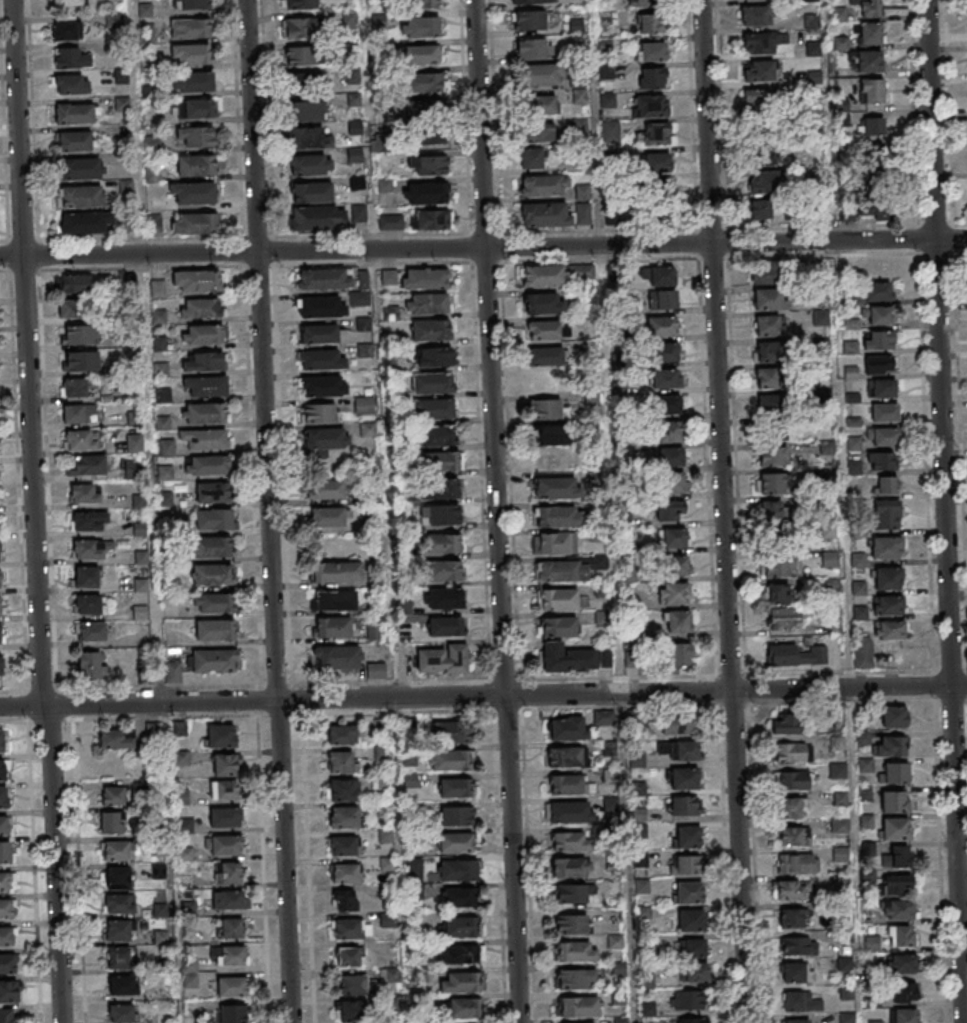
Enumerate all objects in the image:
building: (537, 1)
building: (67, 2)
building: (425, 3)
building: (640, 3)
building: (190, 4)
building: (299, 4)
building: (870, 8)
building: (756, 16)
building: (530, 20)
building: (115, 21)
building: (650, 25)
building: (298, 27)
building: (190, 28)
building: (421, 28)
building: (67, 30)
building: (870, 33)
building: (762, 44)
building: (533, 49)
building: (651, 52)
building: (192, 54)
building: (418, 55)
building: (302, 56)
building: (70, 57)
road: (365, 59)
building: (868, 60)
building: (542, 75)
building: (652, 78)
building: (193, 82)
building: (305, 82)
building: (70, 83)
building: (425, 83)
building: (872, 90)
building: (579, 97)
building: (353, 99)
building: (765, 101)
building: (122, 104)
building: (539, 105)
building: (651, 105)
building: (196, 108)
building: (309, 110)
building: (75, 113)
building: (870, 126)
building: (537, 132)
building: (656, 132)
building: (431, 134)
building: (197, 136)
building: (310, 137)
building: (75, 140)
building: (378, 143)
building: (355, 155)
building: (872, 155)
building: (531, 158)
building: (657, 162)
building: (311, 164)
building: (196, 165)
building: (428, 165)
building: (82, 168)
building: (763, 184)
building: (544, 185)
building: (126, 187)
building: (311, 192)
building: (426, 192)
building: (582, 192)
building: (195, 193)
building: (81, 197)
building: (872, 206)
building: (760, 211)
building: (359, 213)
building: (555, 214)
building: (319, 217)
building: (431, 219)
building: (390, 221)
building: (155, 223)
building: (195, 223)
building: (84, 224)
building: (127, 229)
road: (601, 233)
road: (483, 248)
building: (581, 272)
building: (767, 274)
building: (389, 276)
building: (542, 276)
building: (660, 277)
building: (324, 278)
building: (364, 278)
building: (425, 278)
building: (876, 279)
building: (199, 280)
building: (75, 284)
building: (818, 292)
building: (362, 298)
building: (847, 298)
building: (662, 300)
building: (769, 300)
building: (427, 303)
building: (543, 303)
building: (321, 306)
building: (71, 308)
building: (200, 308)
building: (391, 312)
building: (878, 315)
building: (817, 317)
building: (363, 323)
building: (770, 325)
building: (659, 327)
building: (431, 330)
building: (547, 330)
building: (202, 333)
building: (318, 333)
building: (80, 334)
building: (878, 340)
building: (159, 343)
building: (820, 346)
building: (364, 349)
building: (848, 349)
road: (143, 352)
building: (767, 352)
building: (663, 353)
building: (545, 356)
building: (432, 357)
building: (322, 359)
building: (81, 360)
building: (203, 361)
building: (878, 364)
building: (161, 370)
building: (821, 371)
building: (848, 373)
building: (767, 378)
building: (662, 379)
building: (433, 383)
building: (206, 385)
building: (323, 385)
building: (76, 387)
building: (879, 388)
building: (133, 392)
building: (163, 394)
building: (821, 396)
building: (364, 405)
building: (666, 405)
building: (434, 408)
building: (544, 409)
building: (206, 412)
building: (76, 413)
building: (319, 413)
building: (882, 414)
building: (772, 416)
building: (134, 418)
building: (162, 422)
building: (367, 429)
building: (669, 433)
building: (438, 435)
building: (548, 435)
building: (881, 437)
building: (326, 438)
building: (206, 439)
building: (80, 440)
building: (134, 442)
building: (852, 444)
building: (166, 445)
building: (825, 448)
building: (773, 456)
building: (668, 457)
building: (441, 460)
building: (881, 462)
building: (88, 464)
building: (210, 464)
building: (852, 468)
building: (134, 469)
building: (826, 474)
building: (672, 483)
building: (773, 483)
building: (887, 486)
building: (439, 488)
building: (555, 489)
building: (325, 490)
building: (213, 492)
building: (85, 493)
building: (165, 498)
building: (139, 501)
building: (671, 510)
building: (772, 510)
road: (267, 511)
road: (495, 511)
road: (722, 511)
road: (943, 511)
road: (32, 512)
building: (440, 514)
building: (885, 517)
building: (214, 518)
building: (327, 518)
building: (556, 518)
building: (89, 520)
building: (139, 528)
building: (826, 532)
building: (672, 539)
building: (444, 542)
building: (555, 543)
building: (212, 546)
building: (90, 548)
building: (883, 549)
building: (830, 559)
building: (856, 561)
building: (672, 566)
building: (778, 566)
building: (444, 569)
building: (562, 570)
building: (336, 571)
building: (212, 574)
building: (85, 576)
building: (0, 579)
building: (885, 579)
building: (857, 588)
building: (778, 594)
building: (673, 595)
building: (446, 597)
building: (558, 598)
building: (335, 599)
building: (213, 602)
building: (89, 604)
building: (0, 606)
building: (886, 606)
building: (858, 614)
building: (781, 618)
building: (676, 621)
building: (446, 625)
building: (333, 626)
building: (560, 626)
building: (832, 627)
building: (375, 628)
building: (215, 629)
building: (90, 631)
building: (887, 631)
building: (0, 634)
building: (863, 652)
building: (682, 653)
building: (605, 655)
building: (796, 655)
building: (337, 656)
building: (442, 658)
building: (567, 658)
building: (214, 660)
building: (91, 664)
building: (1, 666)
building: (376, 669)
building: (173, 676)
road: (483, 696)
building: (895, 716)
building: (603, 718)
building: (786, 723)
building: (677, 725)
building: (568, 728)
building: (451, 731)
building: (342, 734)
building: (221, 735)
building: (2, 739)
building: (115, 739)
building: (891, 745)
building: (608, 748)
building: (680, 750)
building: (791, 752)
building: (564, 756)
building: (450, 759)
building: (342, 761)
building: (225, 764)
building: (864, 764)
building: (3, 769)
building: (838, 770)
building: (894, 772)
building: (609, 775)
building: (684, 778)
building: (795, 779)
building: (566, 784)
building: (454, 786)
building: (225, 789)
building: (344, 790)
building: (113, 796)
building: (3, 797)
building: (895, 801)
building: (609, 803)
building: (684, 805)
building: (789, 807)
building: (569, 811)
building: (455, 815)
building: (343, 816)
building: (225, 817)
building: (867, 819)
building: (112, 822)
building: (4, 825)
building: (840, 825)
building: (896, 828)
building: (791, 835)
building: (687, 836)
building: (567, 840)
building: (456, 842)
building: (226, 844)
building: (342, 846)
building: (118, 851)
building: (5, 852)
building: (841, 853)
road: (31, 856)
building: (900, 856)
road: (626, 858)
building: (797, 863)
building: (387, 864)
building: (685, 864)
building: (414, 866)
building: (567, 867)
building: (458, 869)
road: (77, 871)
building: (227, 871)
building: (344, 872)
building: (118, 877)
building: (7, 881)
building: (894, 883)
building: (792, 889)
building: (688, 891)
building: (571, 892)
building: (460, 897)
building: (228, 900)
building: (344, 900)
building: (119, 903)
building: (6, 908)
building: (898, 908)
building: (795, 917)
building: (691, 919)
building: (388, 920)
building: (571, 922)
building: (457, 926)
building: (229, 927)
building: (347, 928)
building: (117, 929)
building: (901, 935)
building: (6, 936)
building: (799, 945)
building: (692, 947)
building: (576, 951)
building: (463, 953)
building: (229, 955)
building: (350, 955)
building: (118, 957)
building: (7, 963)
building: (904, 964)
building: (793, 971)
building: (694, 972)
building: (572, 979)
building: (466, 981)
building: (122, 984)
building: (352, 984)
building: (231, 986)
building: (8, 990)
building: (905, 992)
building: (688, 1000)
building: (801, 1001)
building: (577, 1006)
building: (465, 1007)
building: (353, 1010)
building: (121, 1013)
building: (234, 1013)
building: (7, 1015)
building: (905, 1016)
building: (693, 1020)
building: (797, 1021)
building: (583, 1022)

